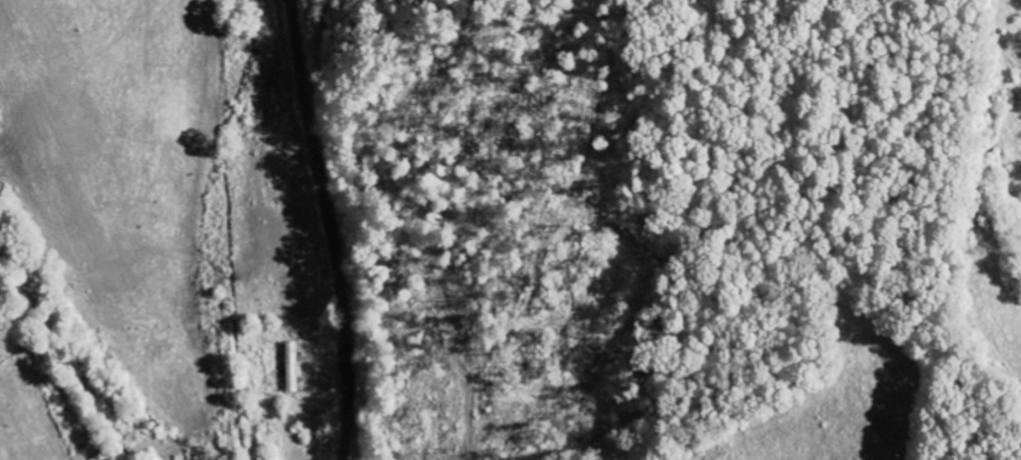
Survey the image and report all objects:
road: (323, 229)
building: (292, 368)

